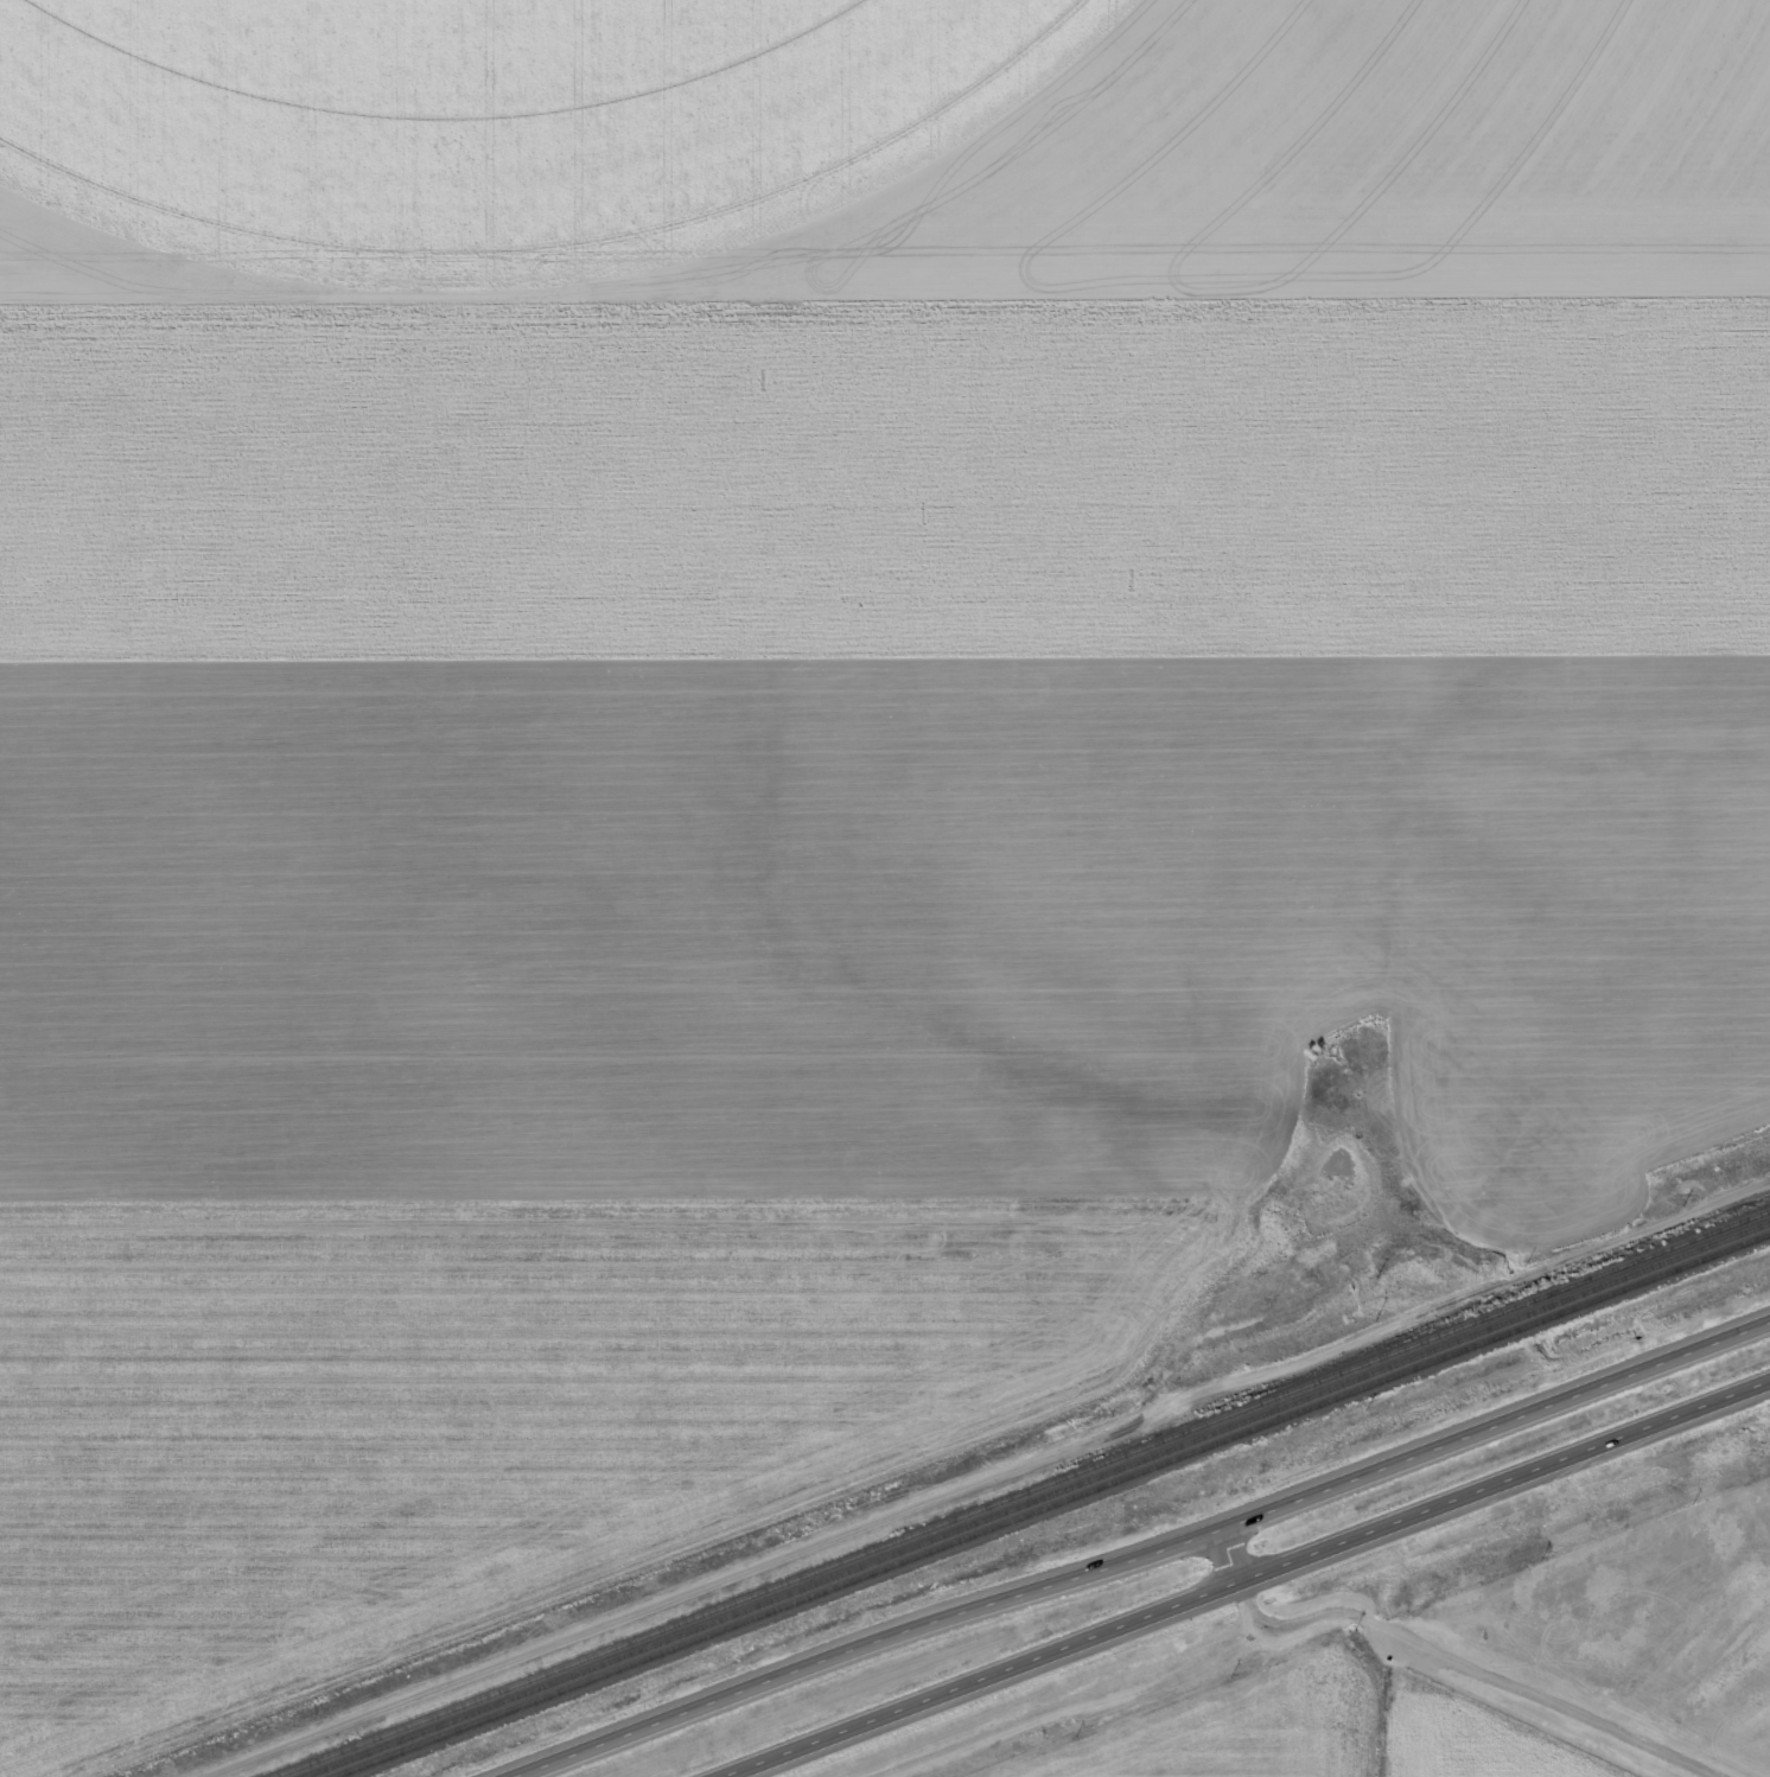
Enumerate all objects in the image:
road: (1367, 1230)
railway: (1020, 1492)
railway: (1037, 1498)
railway: (1050, 1504)
road: (1142, 1556)
road: (712, 1579)
road: (1252, 1581)
road: (1365, 1612)
railway: (1631, 1663)

